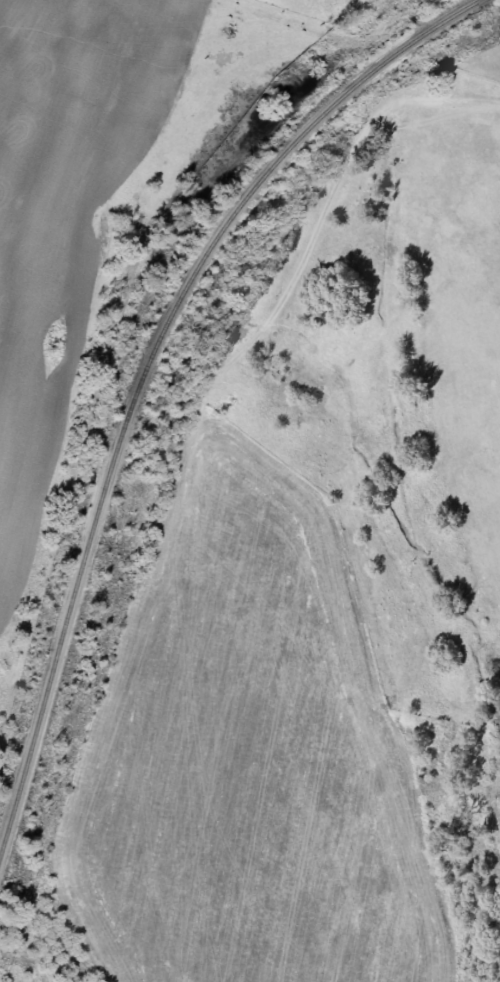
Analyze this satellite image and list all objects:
road: (339, 176)
railway: (147, 371)

